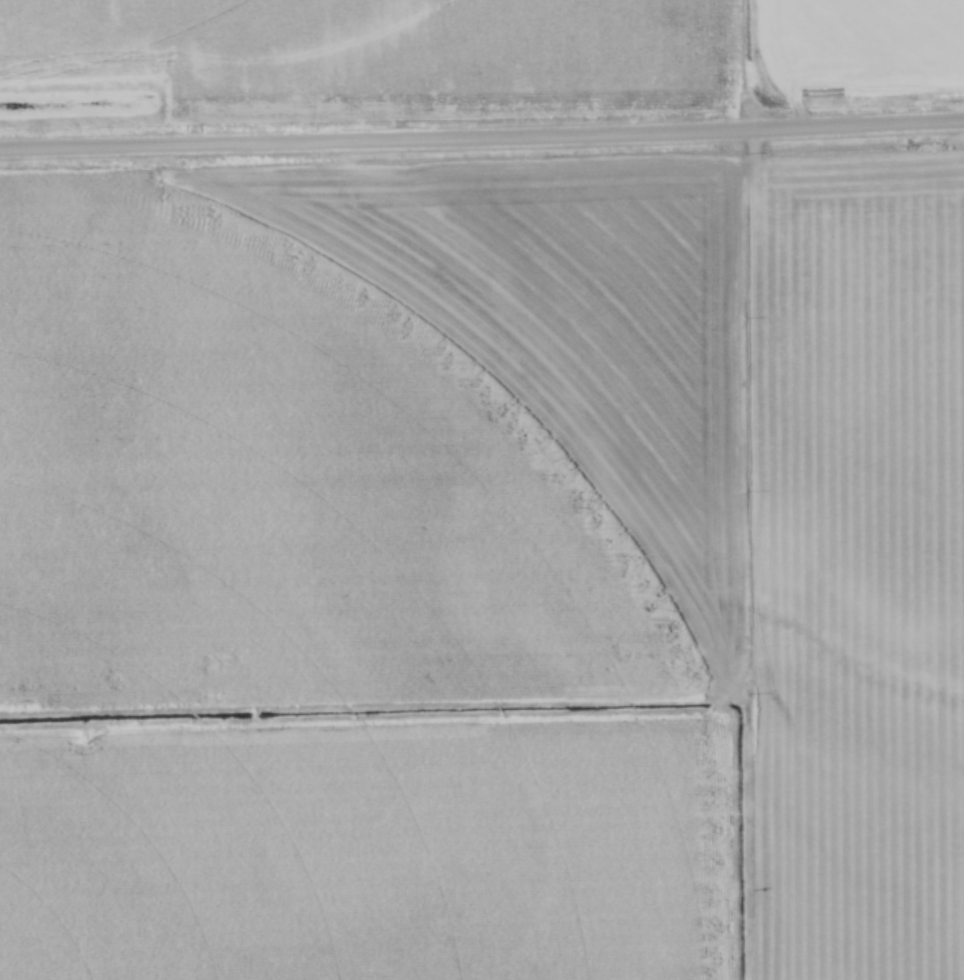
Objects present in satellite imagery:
crop: (861, 46)
crop: (388, 54)
road: (482, 138)
crop: (520, 474)
crop: (366, 856)

